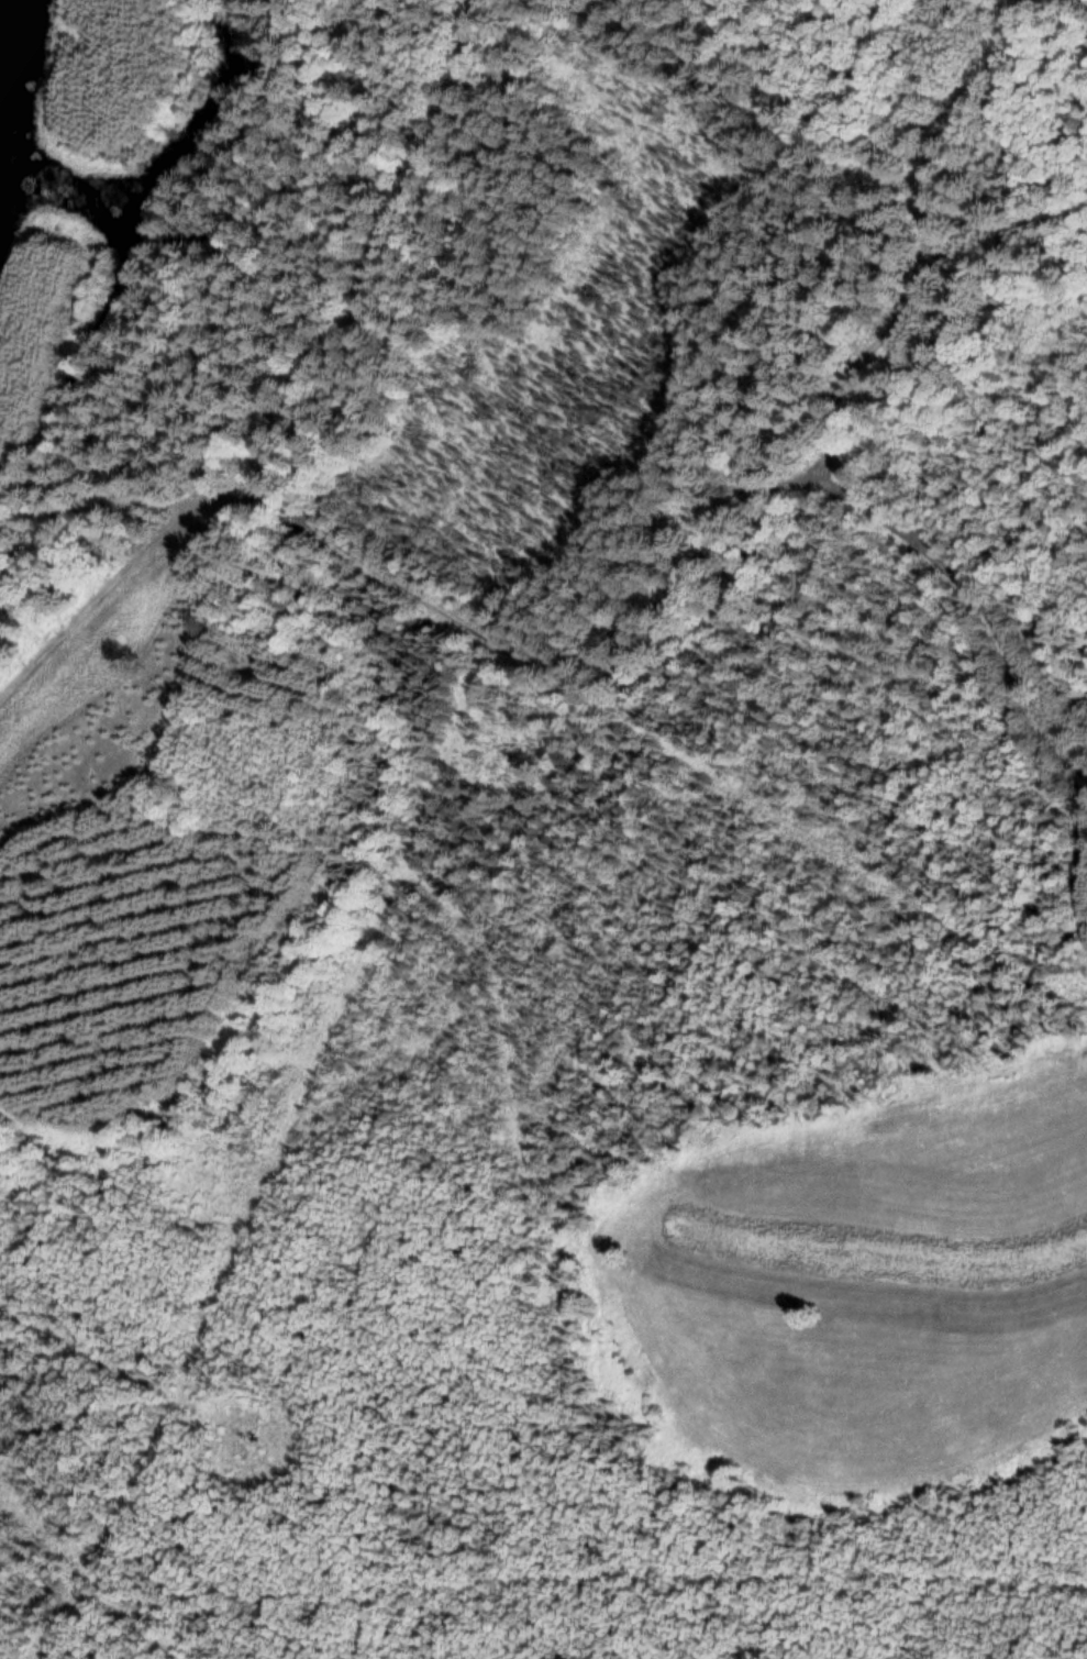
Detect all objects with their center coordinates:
road: (632, 635)

